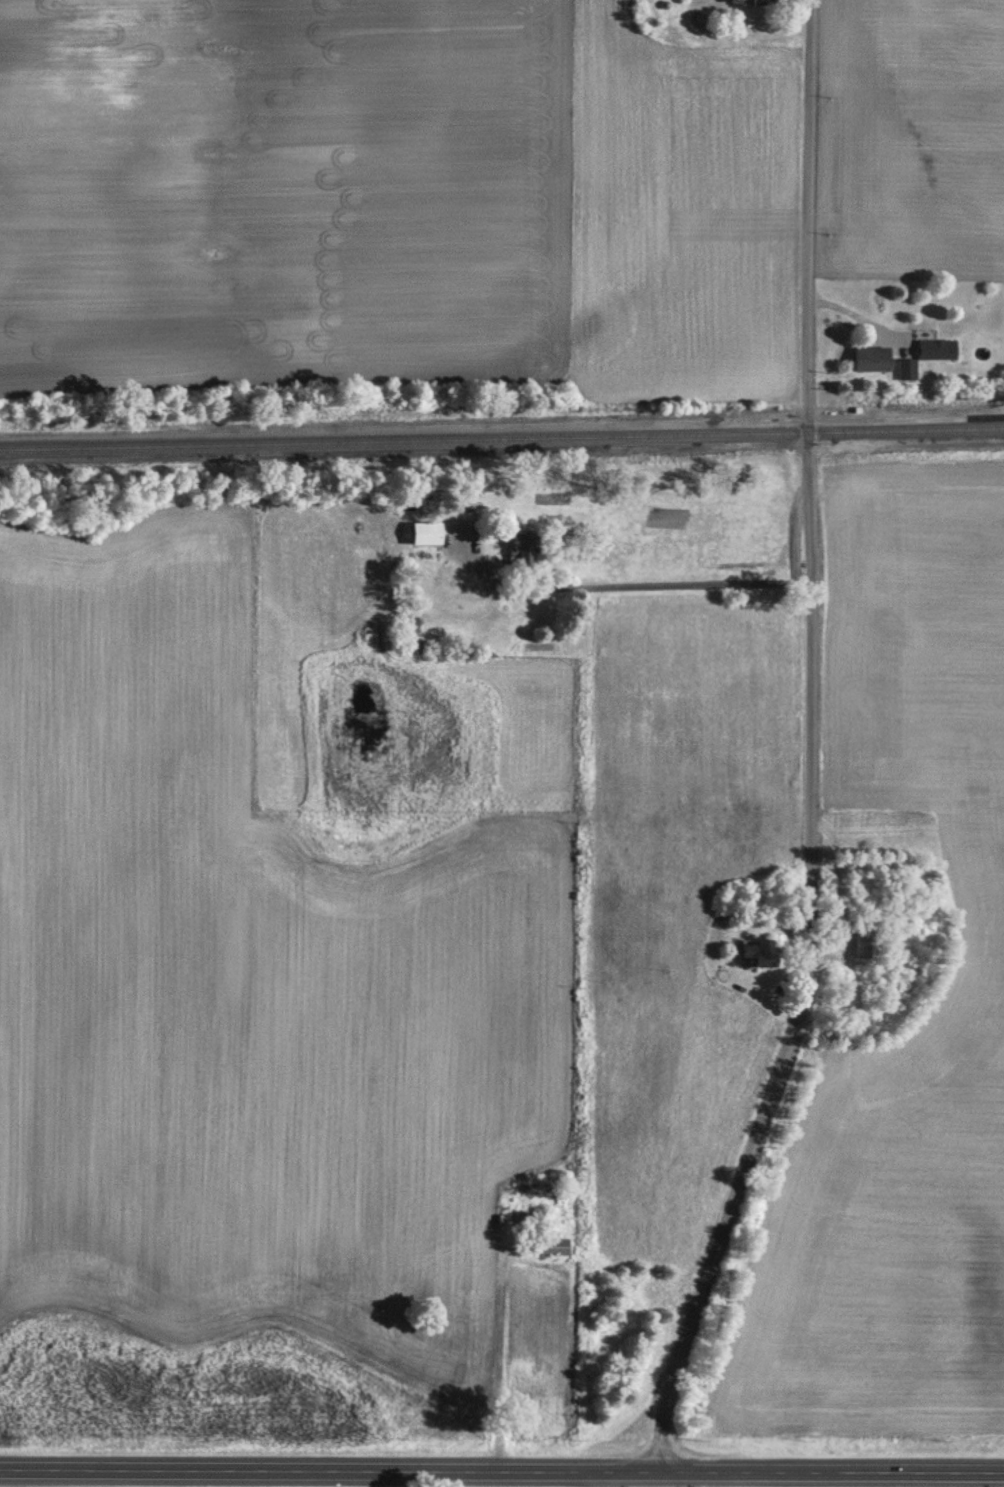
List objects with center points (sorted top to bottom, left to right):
building: (750, 2)
road: (848, 315)
building: (937, 349)
building: (873, 359)
building: (907, 369)
railway: (502, 439)
building: (521, 544)
road: (632, 584)
road: (812, 747)
building: (866, 942)
building: (760, 951)
building: (520, 1217)
building: (555, 1246)
road: (502, 1469)

